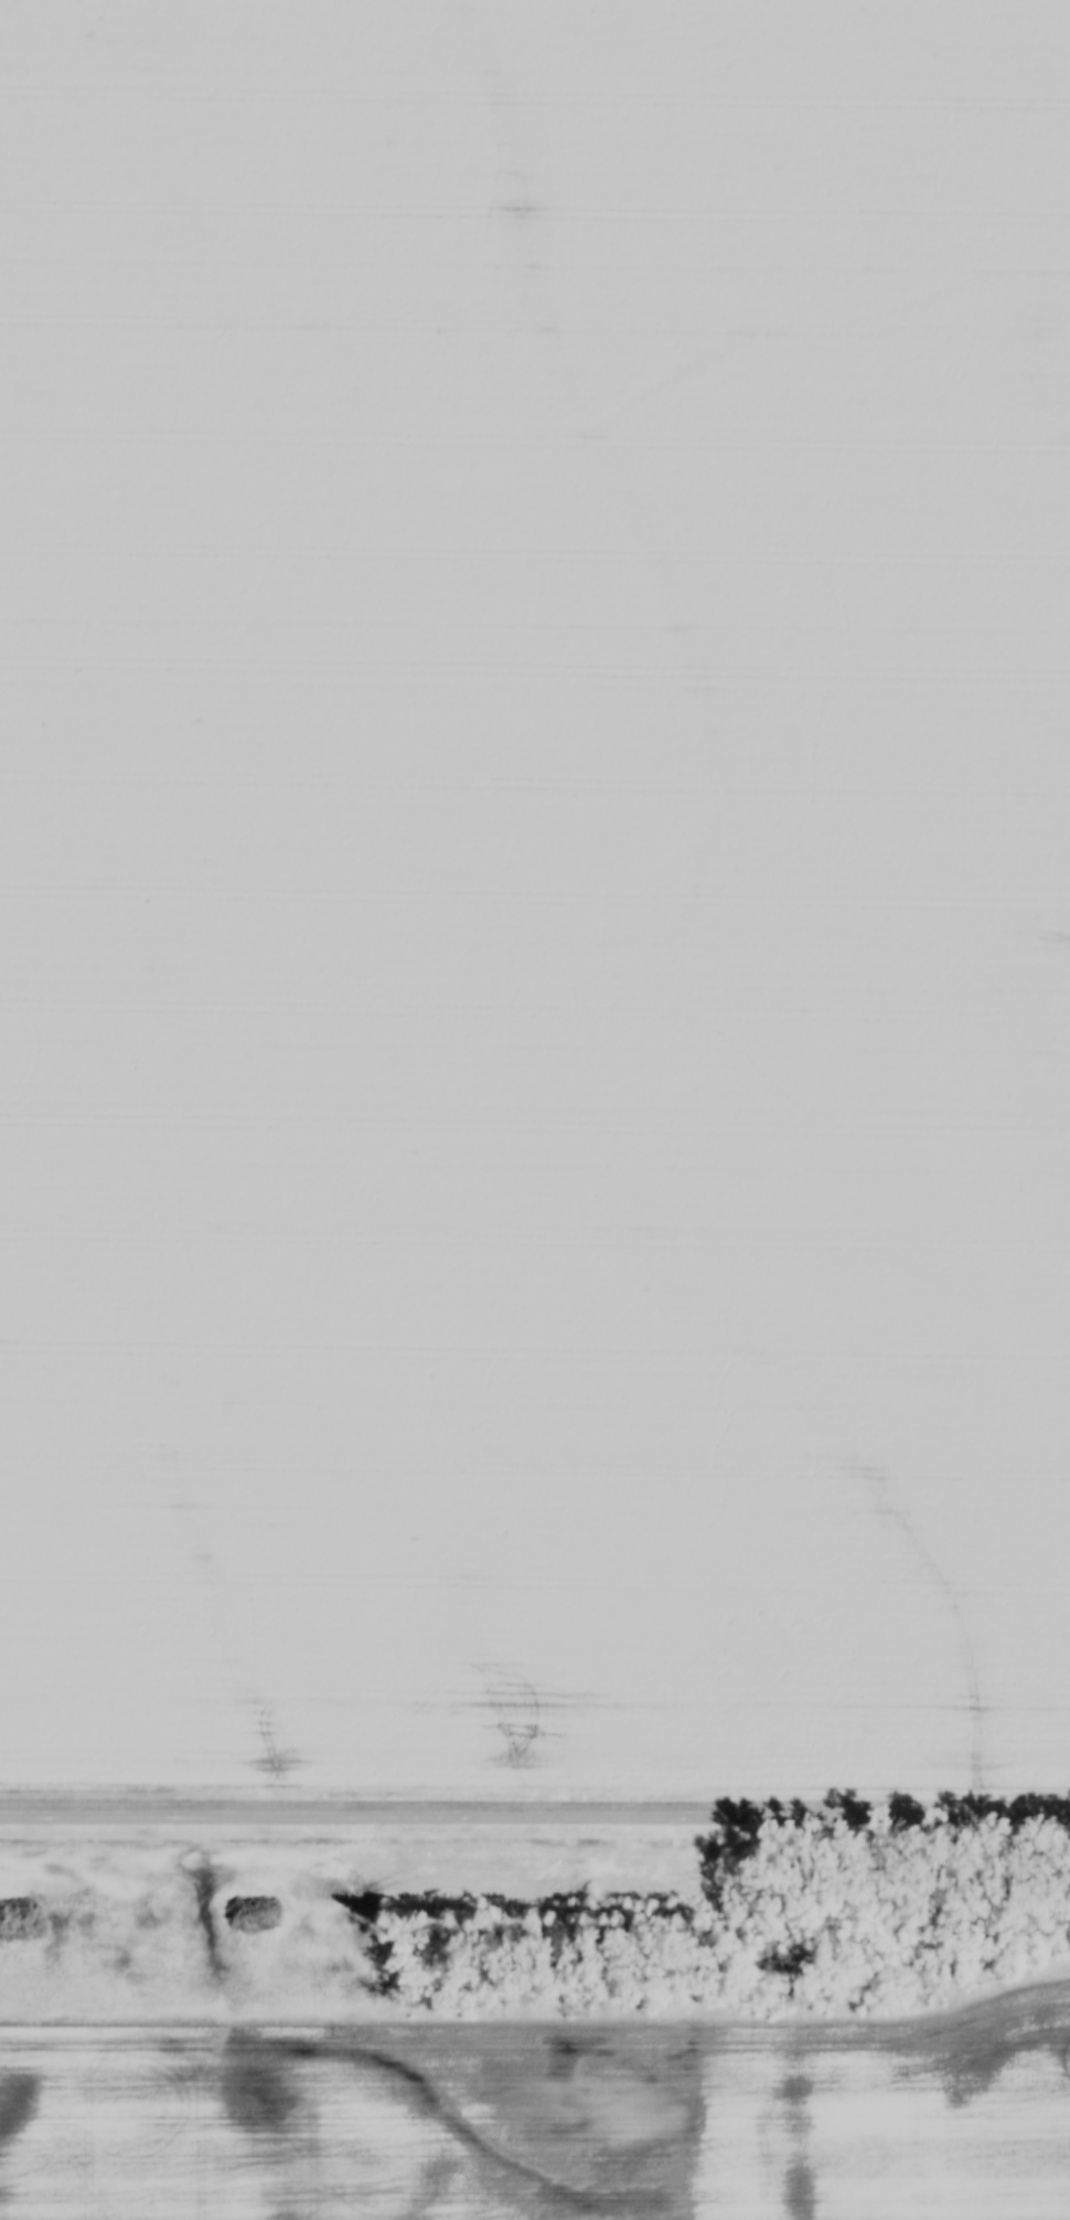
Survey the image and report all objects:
road: (535, 1819)

